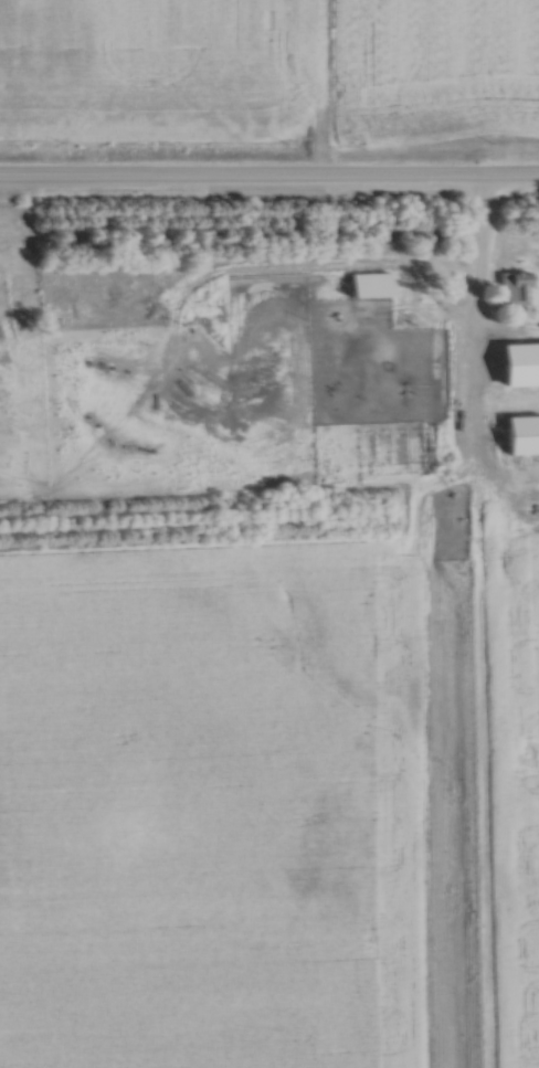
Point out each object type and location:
road: (268, 178)
road: (483, 264)
building: (515, 288)
building: (521, 435)

